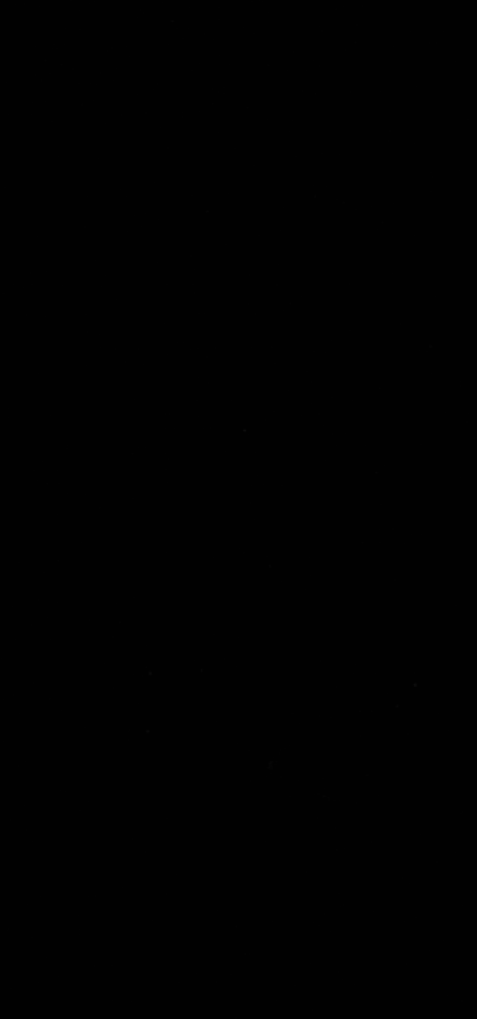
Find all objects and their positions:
river: (238, 970)

